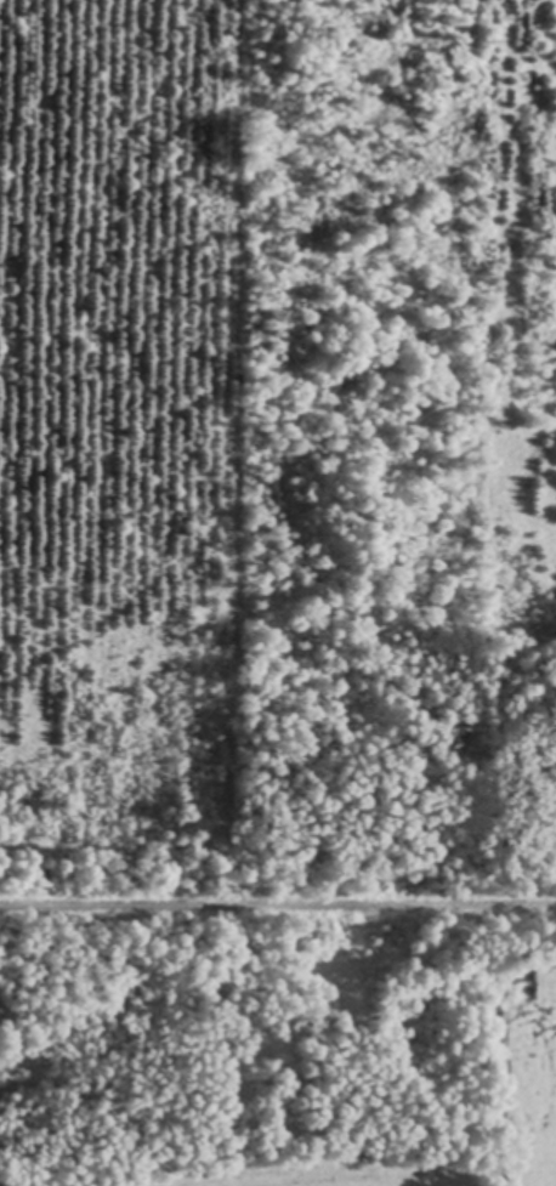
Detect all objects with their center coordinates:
road: (277, 904)

